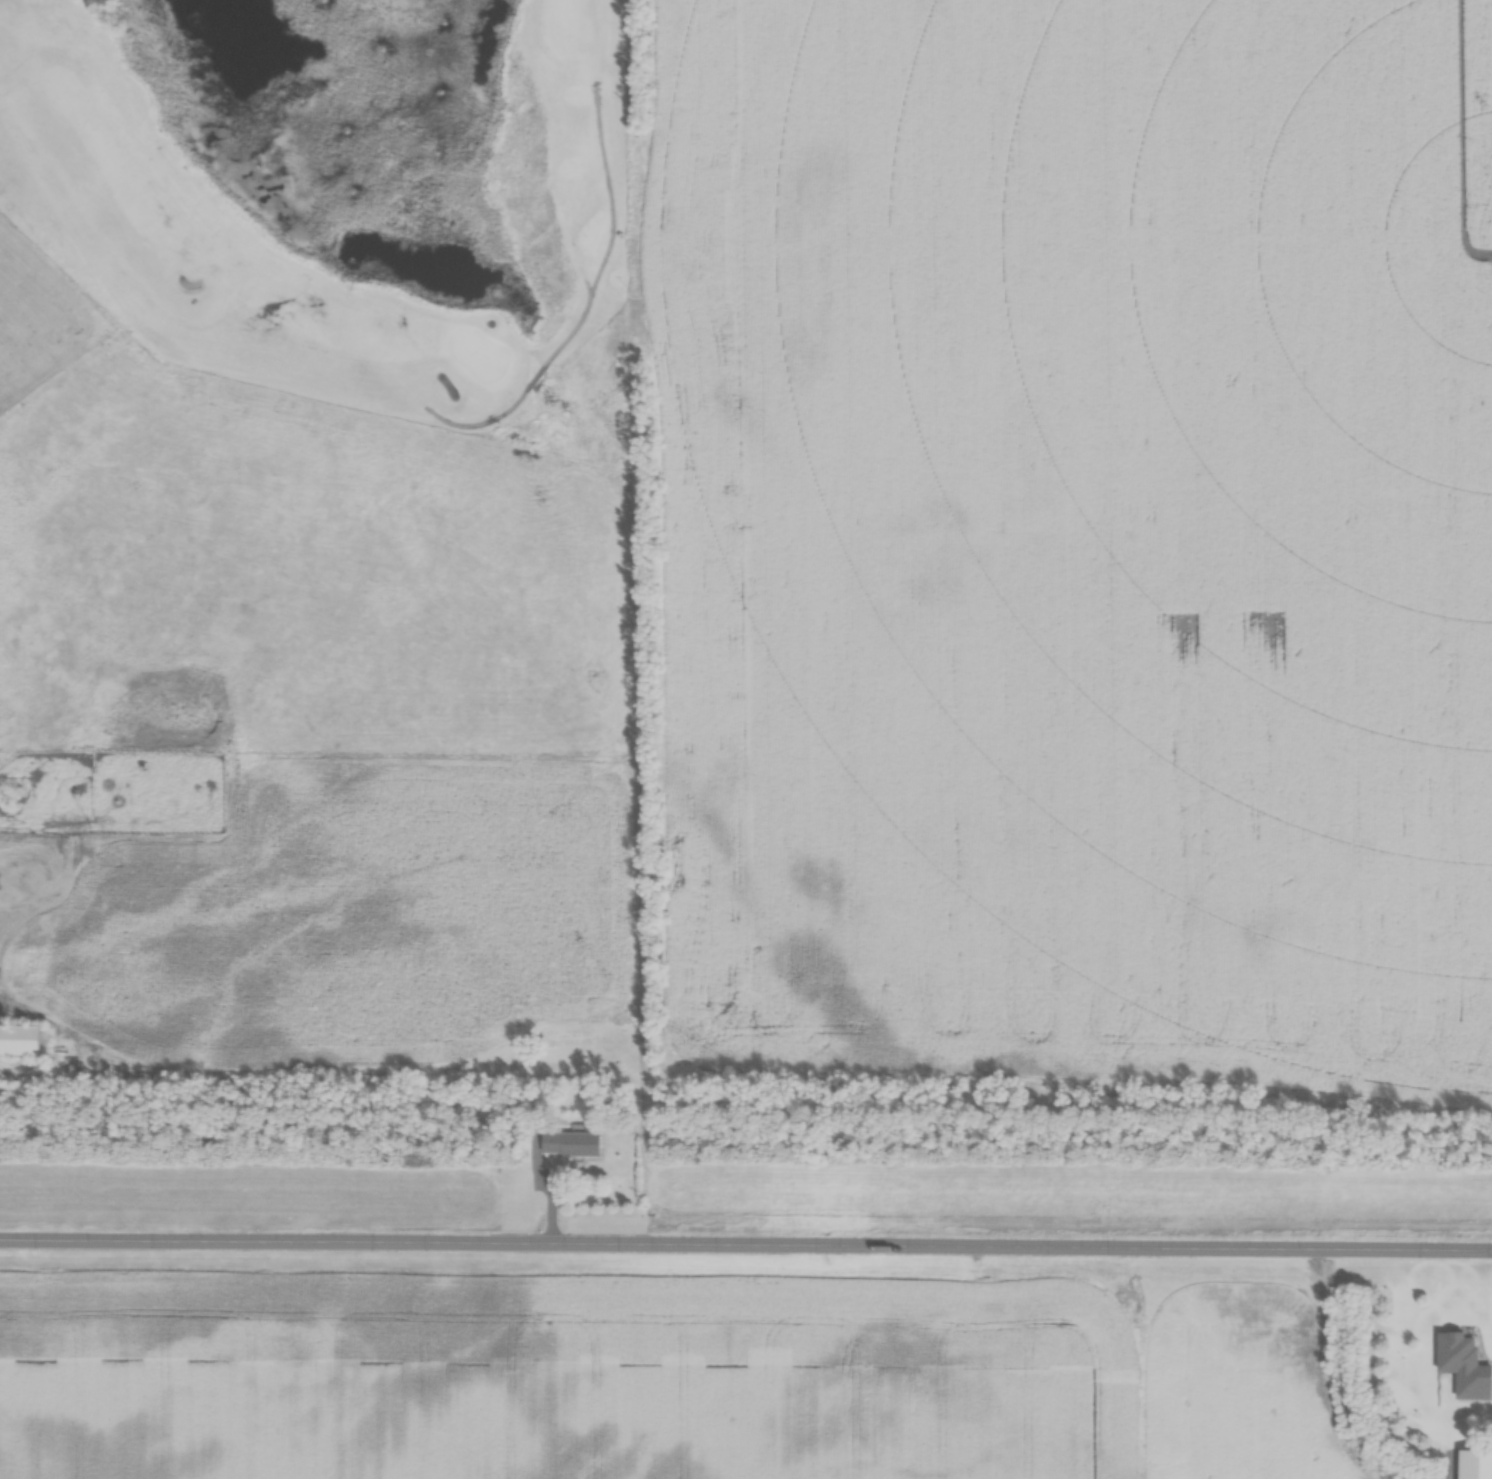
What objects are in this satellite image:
road: (604, 193)
park: (344, 198)
road: (584, 288)
road: (522, 393)
building: (18, 1041)
building: (573, 1144)
road: (746, 1242)
building: (1460, 1365)
crop: (565, 1376)
building: (1475, 1464)

